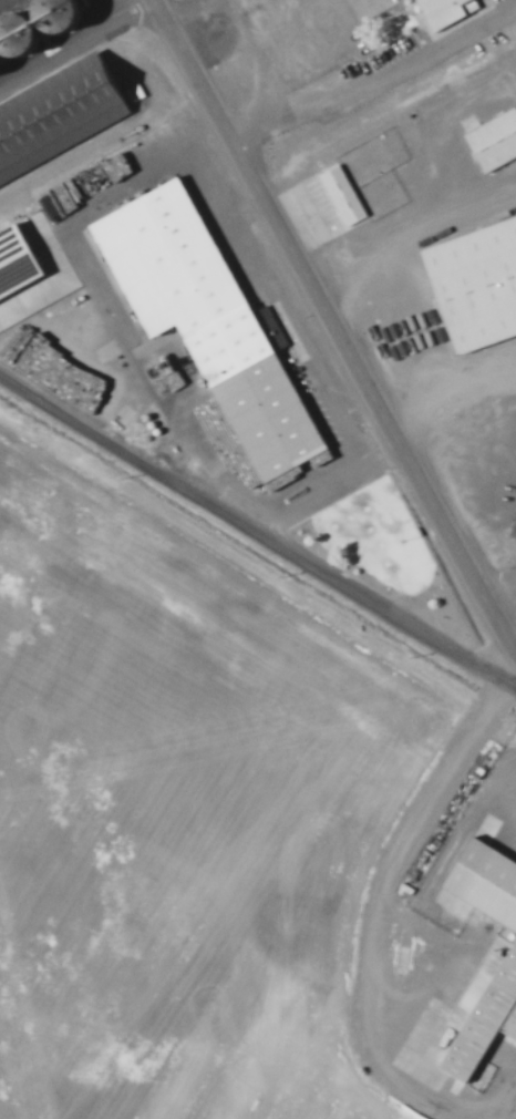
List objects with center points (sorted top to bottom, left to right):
road: (105, 11)
building: (446, 11)
building: (39, 29)
road: (238, 30)
road: (74, 43)
road: (374, 81)
building: (100, 84)
building: (495, 141)
building: (13, 161)
building: (344, 196)
building: (18, 263)
building: (478, 283)
building: (209, 320)
road: (332, 329)
road: (258, 515)
building: (486, 882)
road: (380, 893)
building: (484, 1017)

